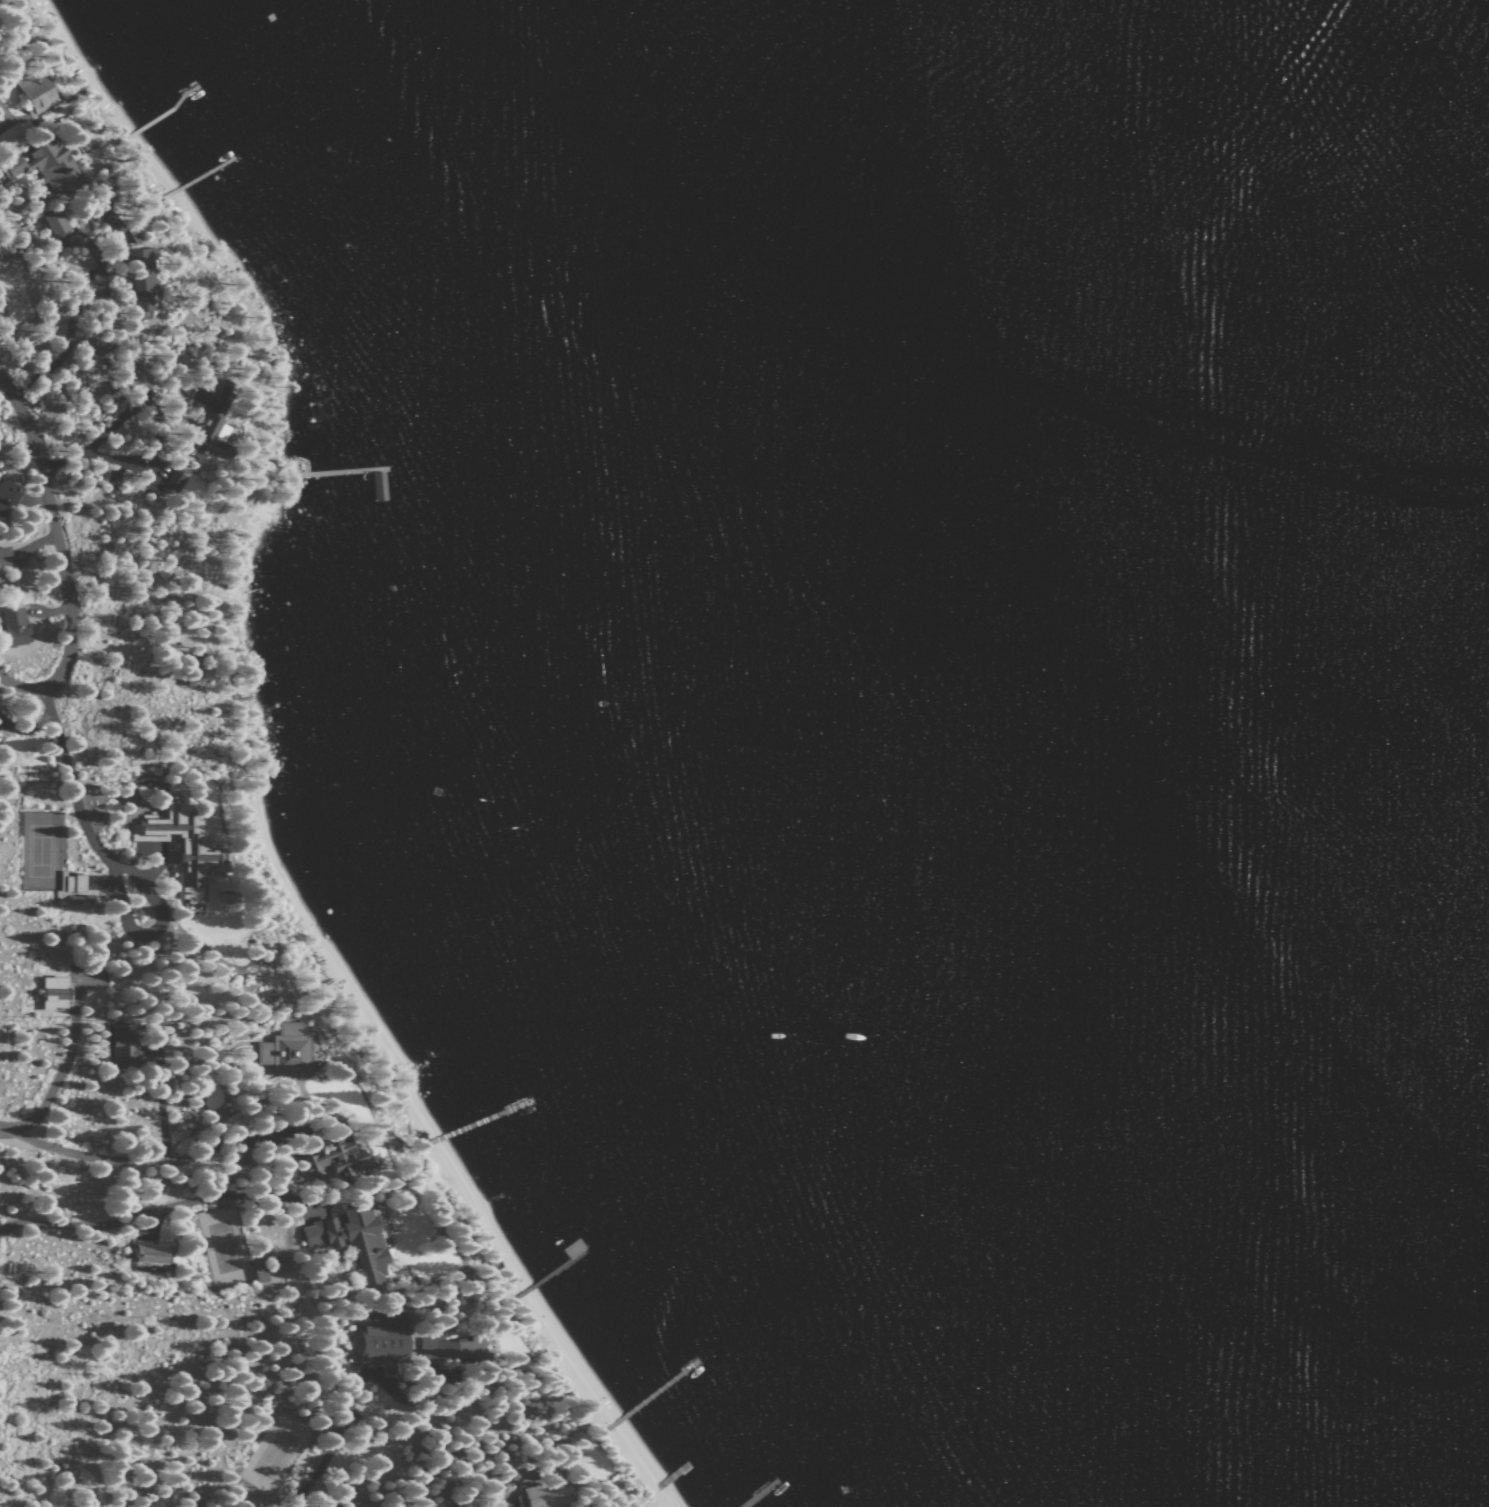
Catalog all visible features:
building: (34, 91)
pier: (163, 112)
road: (3, 116)
building: (6, 140)
building: (42, 163)
pier: (198, 176)
building: (112, 221)
building: (53, 222)
building: (141, 279)
road: (74, 313)
building: (212, 422)
road: (162, 453)
pier: (337, 470)
building: (172, 483)
pier: (374, 484)
building: (5, 497)
road: (57, 555)
building: (3, 556)
building: (0, 580)
building: (12, 627)
building: (187, 673)
road: (44, 701)
road: (72, 795)
building: (51, 992)
building: (122, 1045)
building: (285, 1048)
road: (60, 1069)
road: (161, 1105)
pier: (474, 1121)
road: (229, 1142)
road: (79, 1155)
road: (156, 1209)
building: (349, 1241)
building: (148, 1251)
pier: (544, 1272)
building: (381, 1339)
building: (452, 1347)
pier: (652, 1394)
road: (324, 1456)
pier: (672, 1475)
pier: (757, 1494)
building: (543, 1495)

